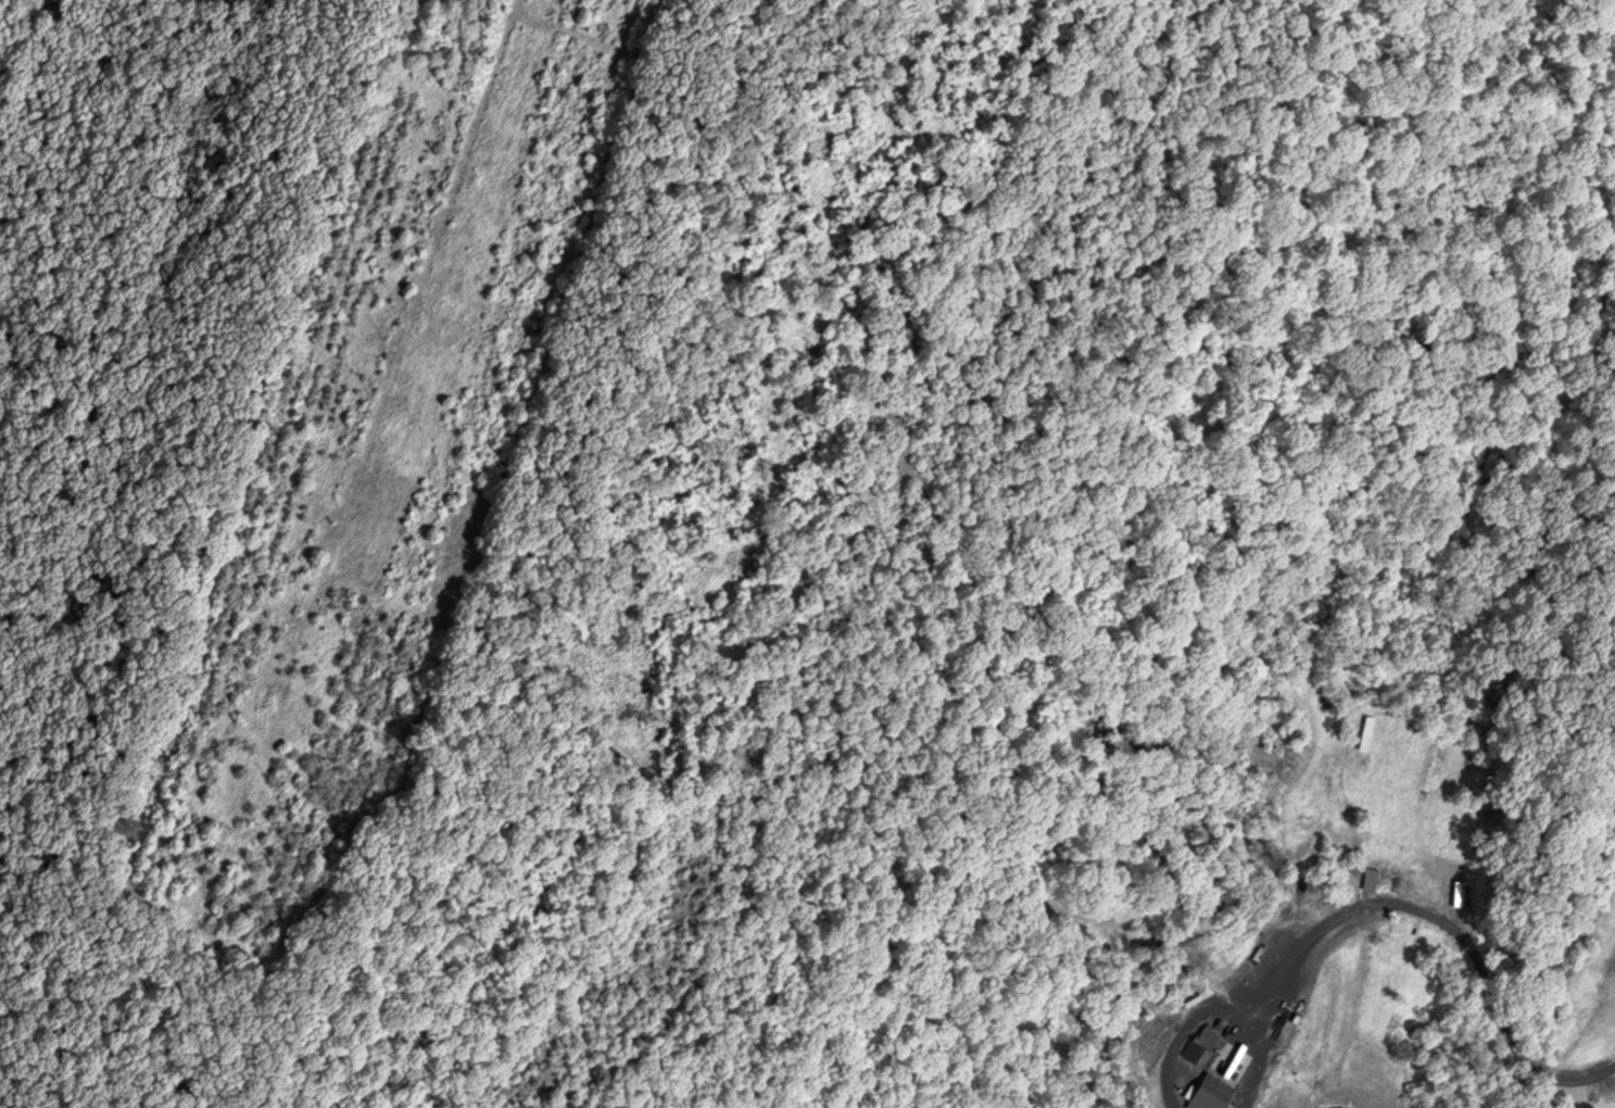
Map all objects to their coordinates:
building: (1367, 732)
building: (1392, 883)
road: (1460, 935)
building: (1208, 1046)
building: (1212, 1093)

